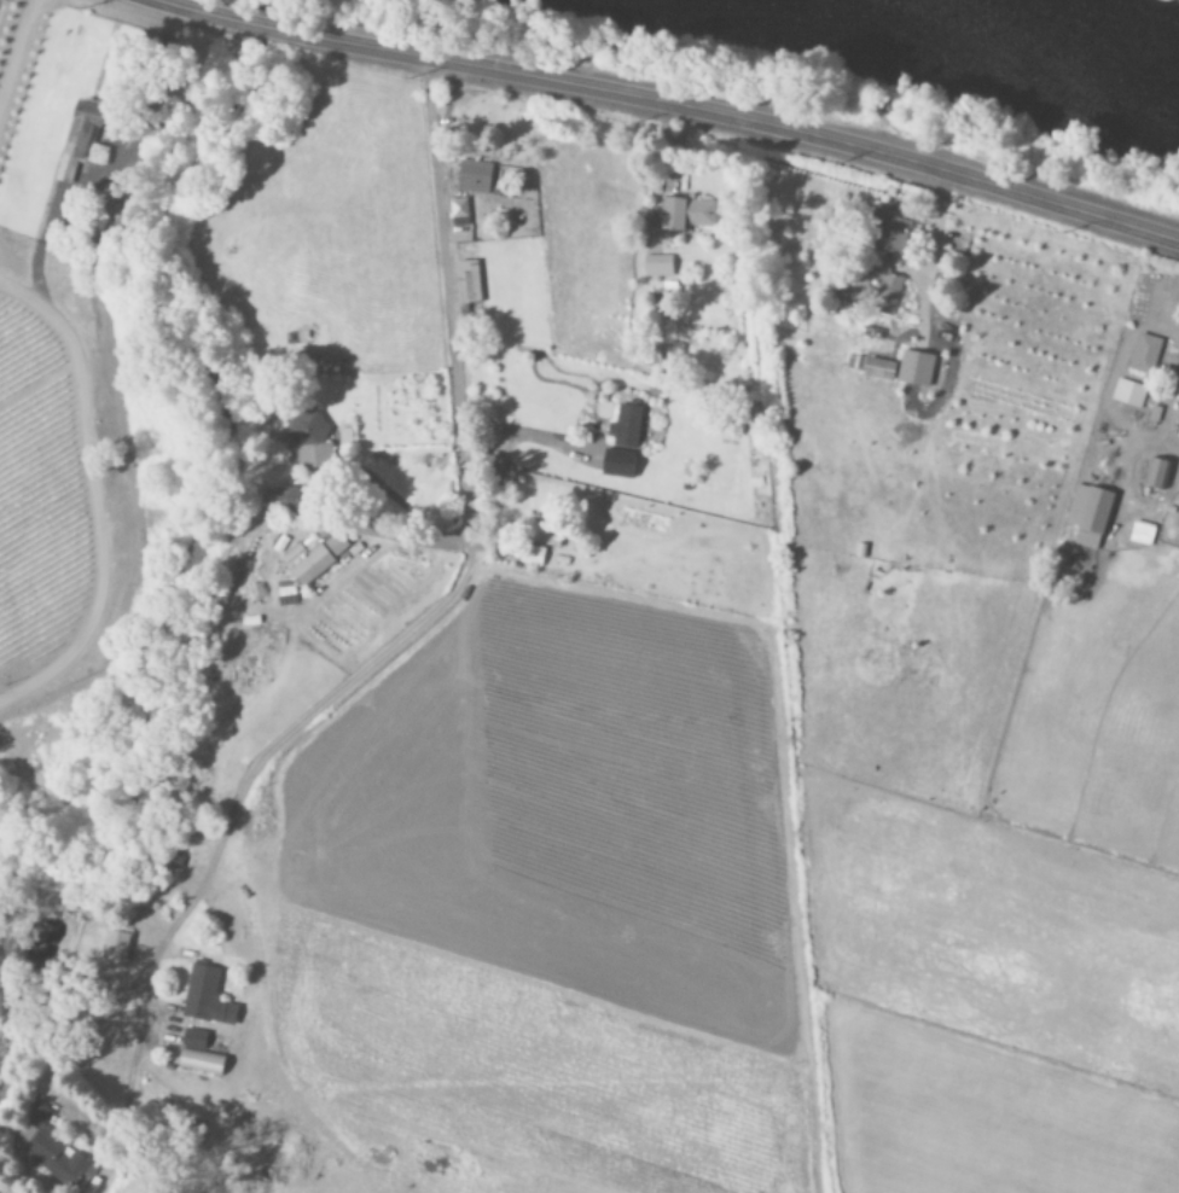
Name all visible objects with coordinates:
river: (1021, 34)
road: (22, 109)
road: (660, 110)
building: (79, 136)
building: (474, 178)
building: (109, 210)
building: (458, 213)
building: (685, 214)
building: (890, 238)
building: (656, 267)
building: (466, 283)
building: (887, 295)
building: (1144, 355)
building: (870, 367)
building: (914, 369)
building: (1128, 394)
building: (625, 427)
building: (304, 429)
building: (1156, 476)
building: (288, 500)
building: (1087, 516)
building: (542, 533)
building: (1142, 534)
building: (335, 545)
building: (532, 557)
building: (306, 563)
road: (403, 636)
building: (114, 948)
building: (207, 997)
building: (198, 1054)
building: (48, 1150)

